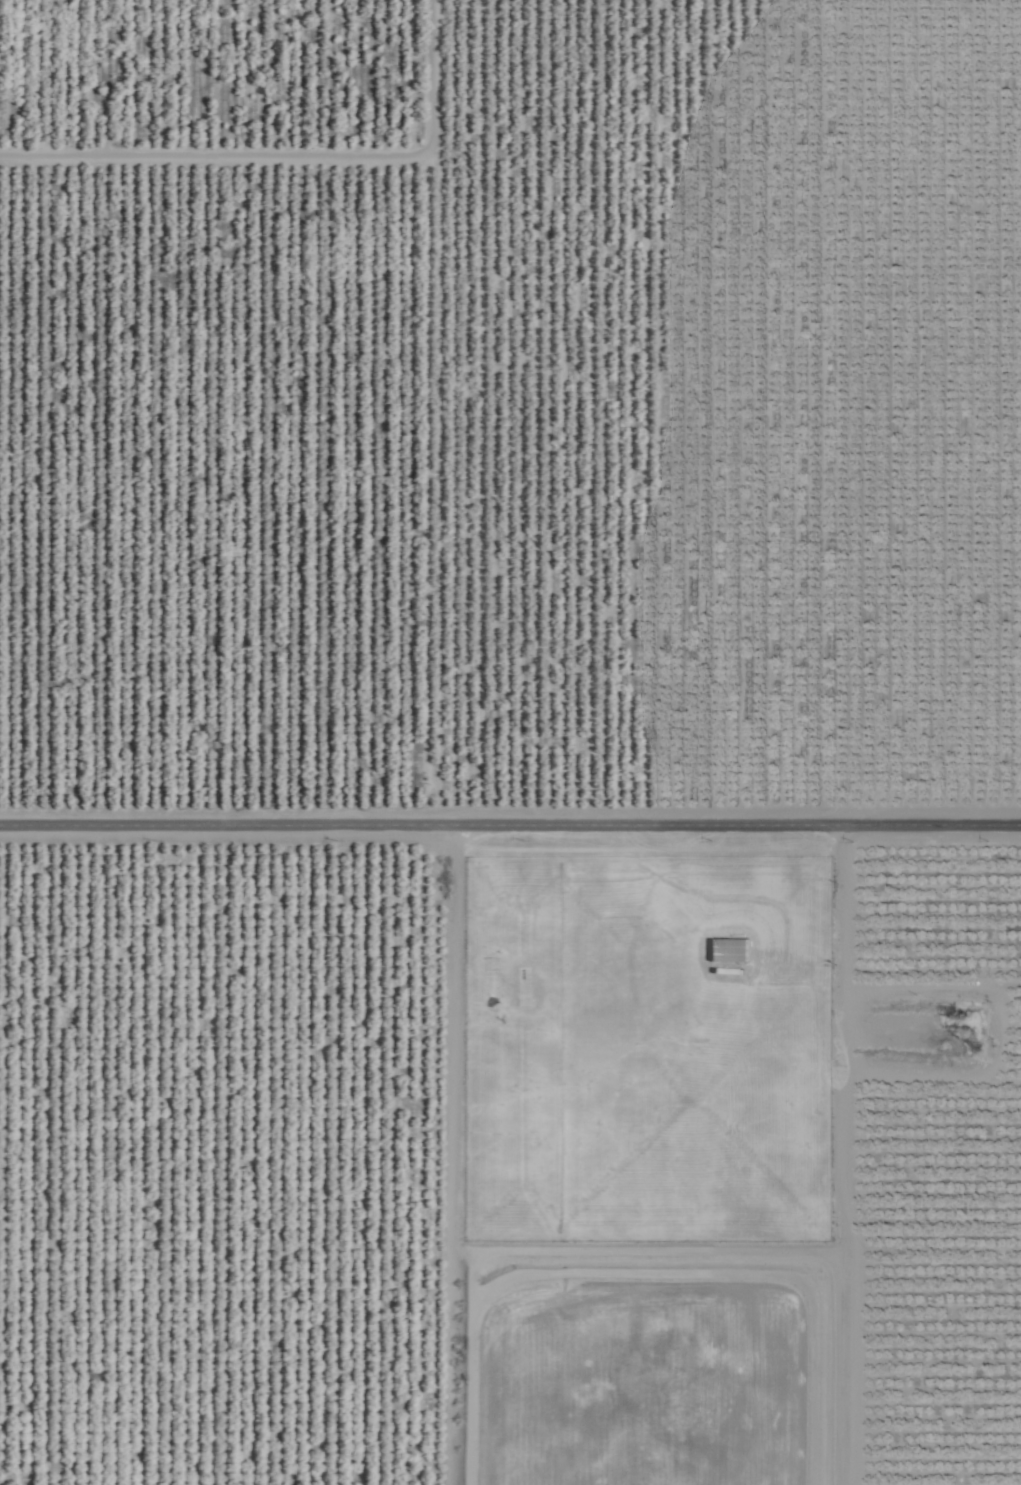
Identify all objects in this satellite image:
road: (295, 158)
crop: (499, 694)
road: (510, 827)

